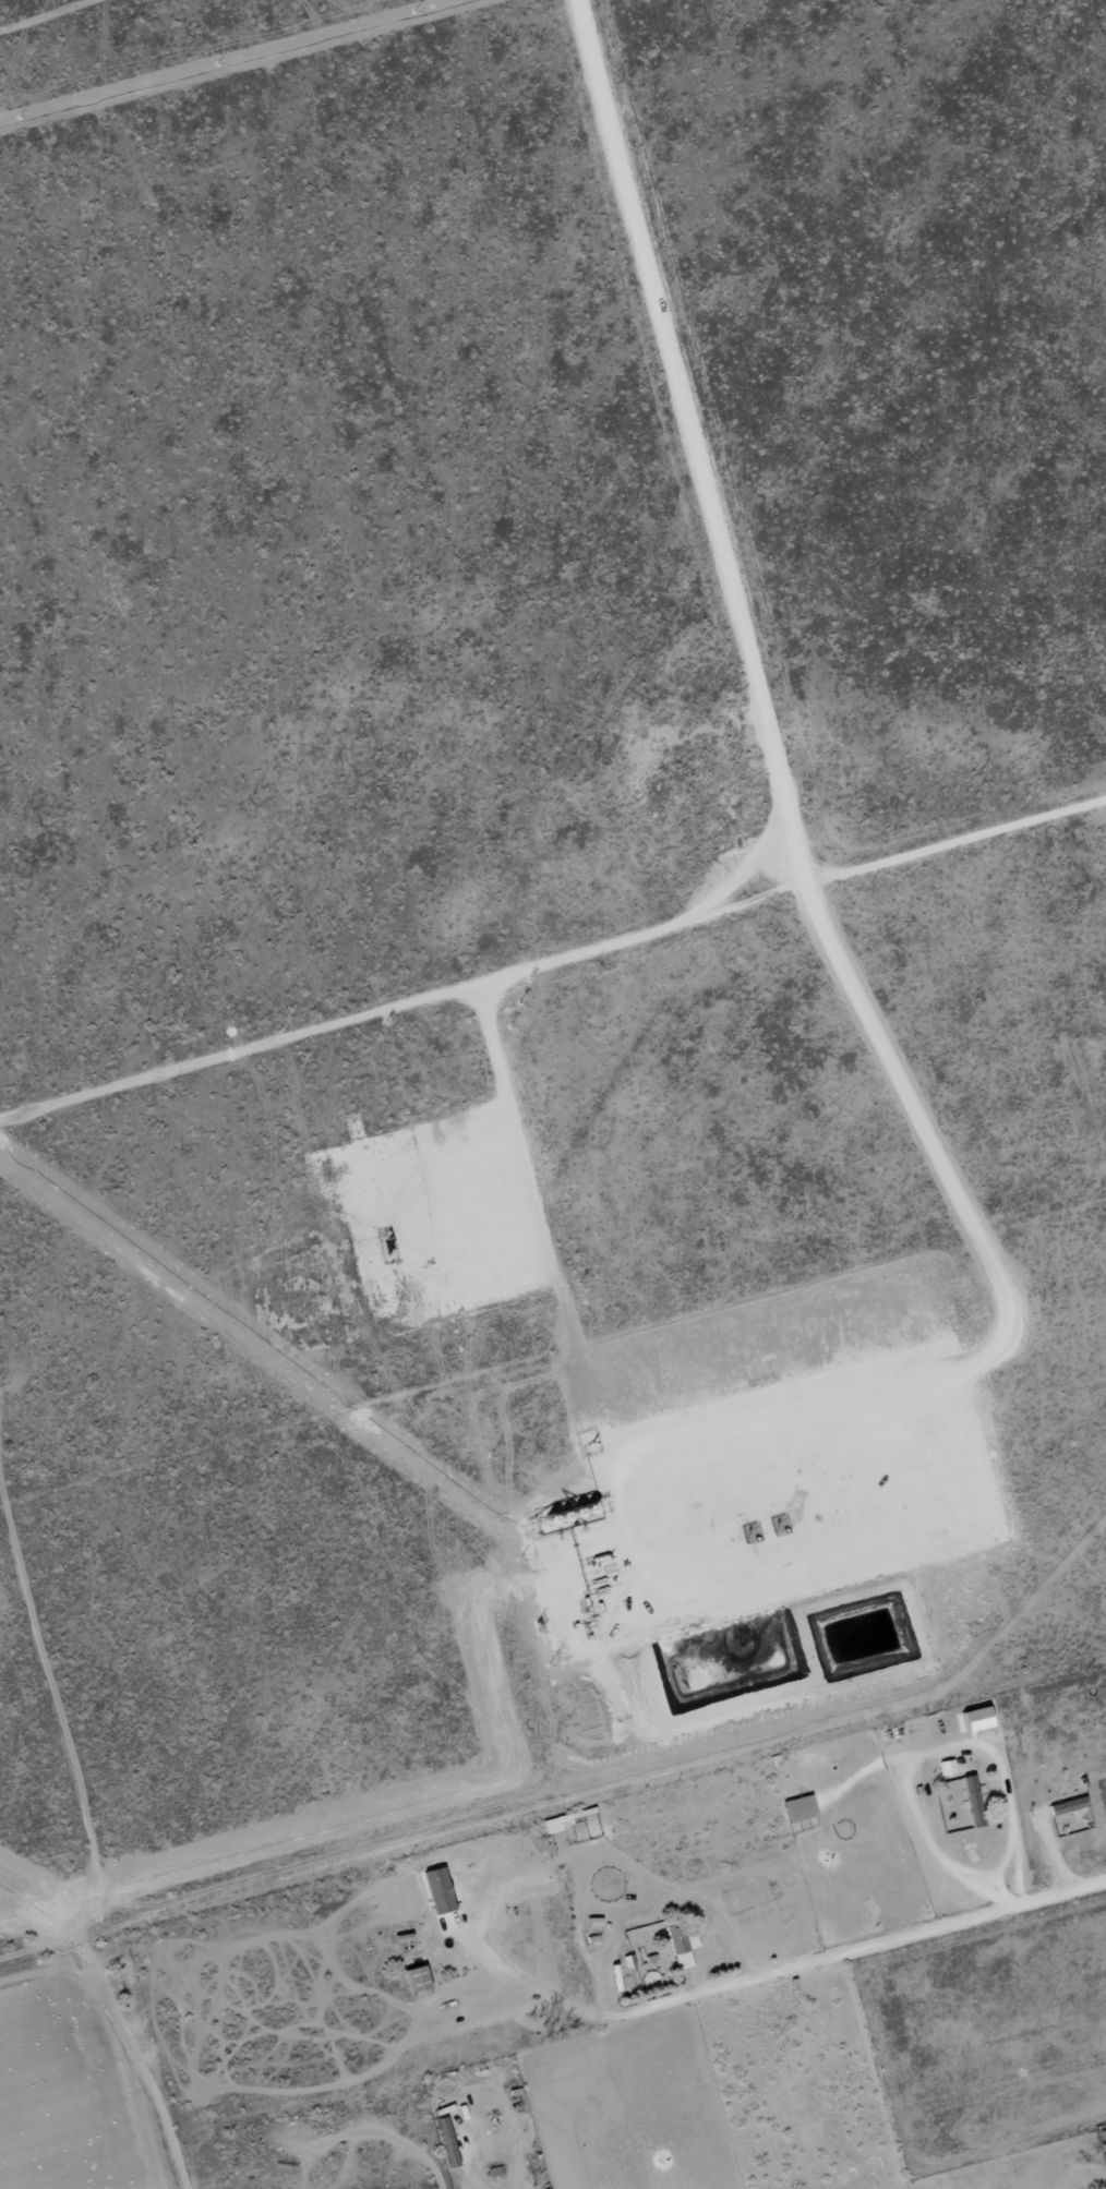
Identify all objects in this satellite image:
road: (289, 79)
road: (924, 1755)
building: (945, 1768)
building: (971, 1802)
building: (1067, 1807)
building: (797, 1809)
building: (557, 1824)
road: (1019, 1872)
building: (436, 1892)
building: (680, 1947)
road: (857, 1950)
building: (416, 1981)
road: (386, 2134)
building: (1104, 2155)
road: (470, 2157)

